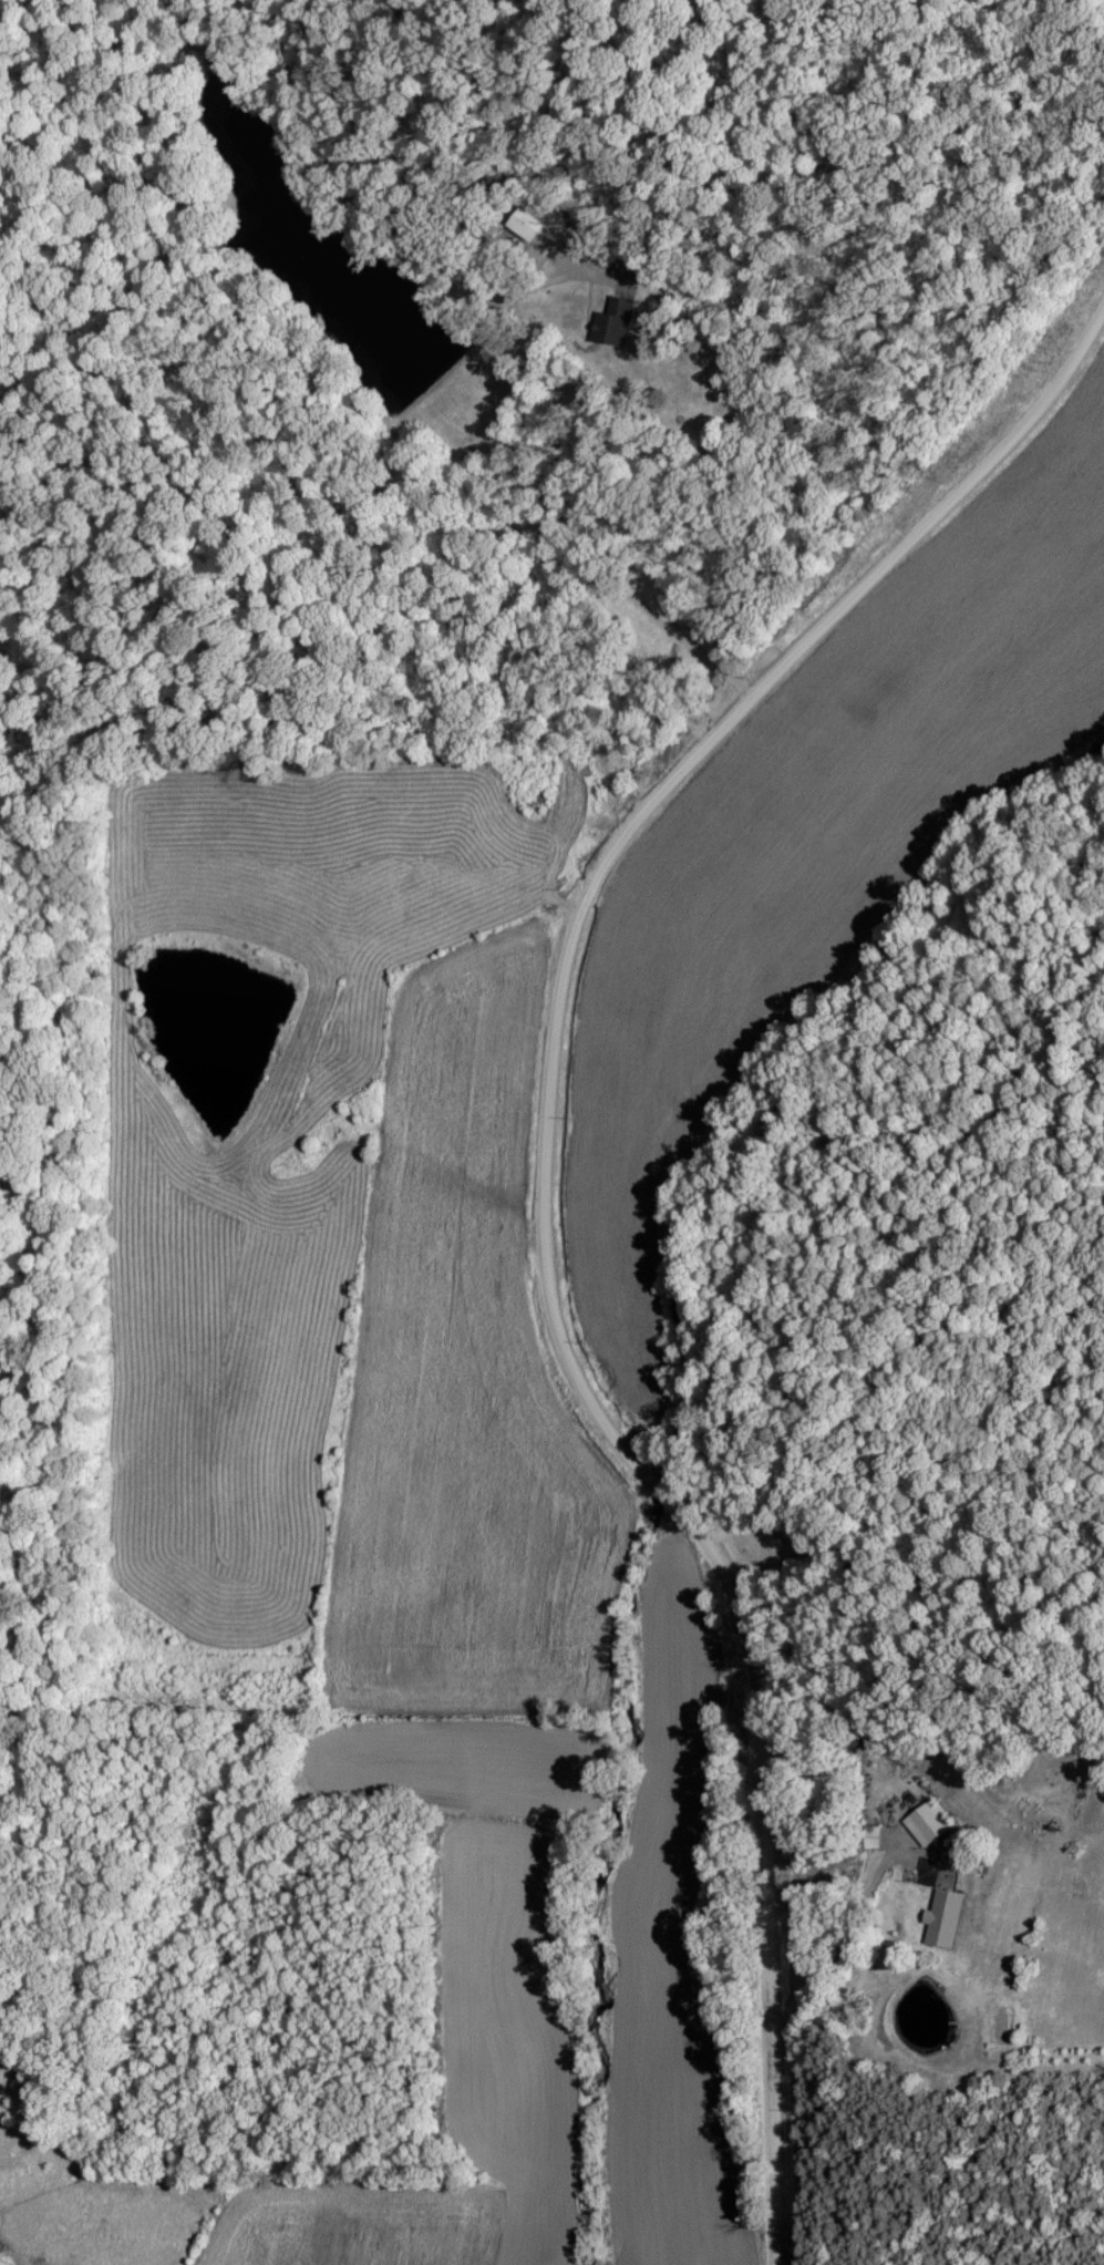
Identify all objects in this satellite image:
building: (525, 224)
building: (612, 321)
road: (529, 494)
road: (544, 1213)
building: (928, 1819)
building: (941, 1917)

